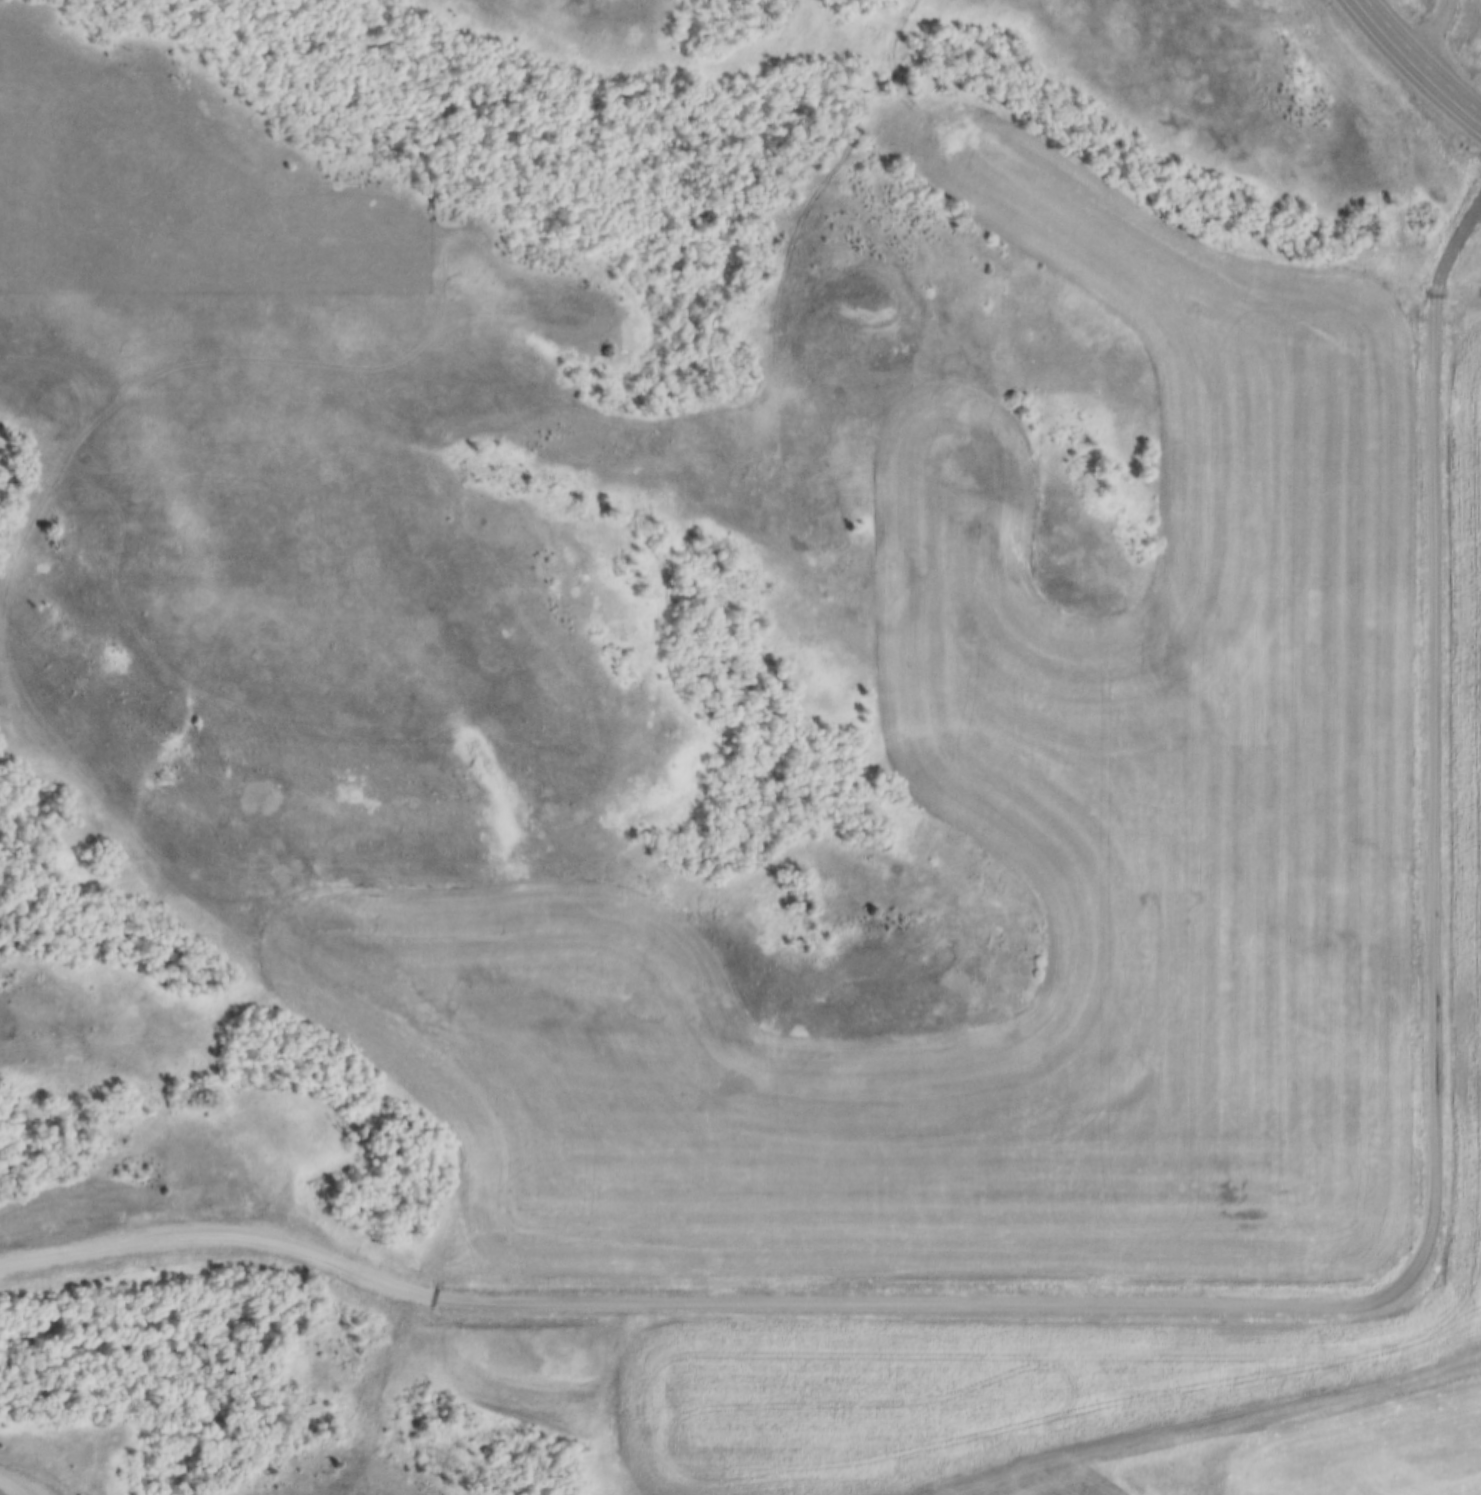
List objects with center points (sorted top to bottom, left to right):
road: (1417, 63)
road: (703, 412)
road: (1243, 1306)
road: (17, 1481)

